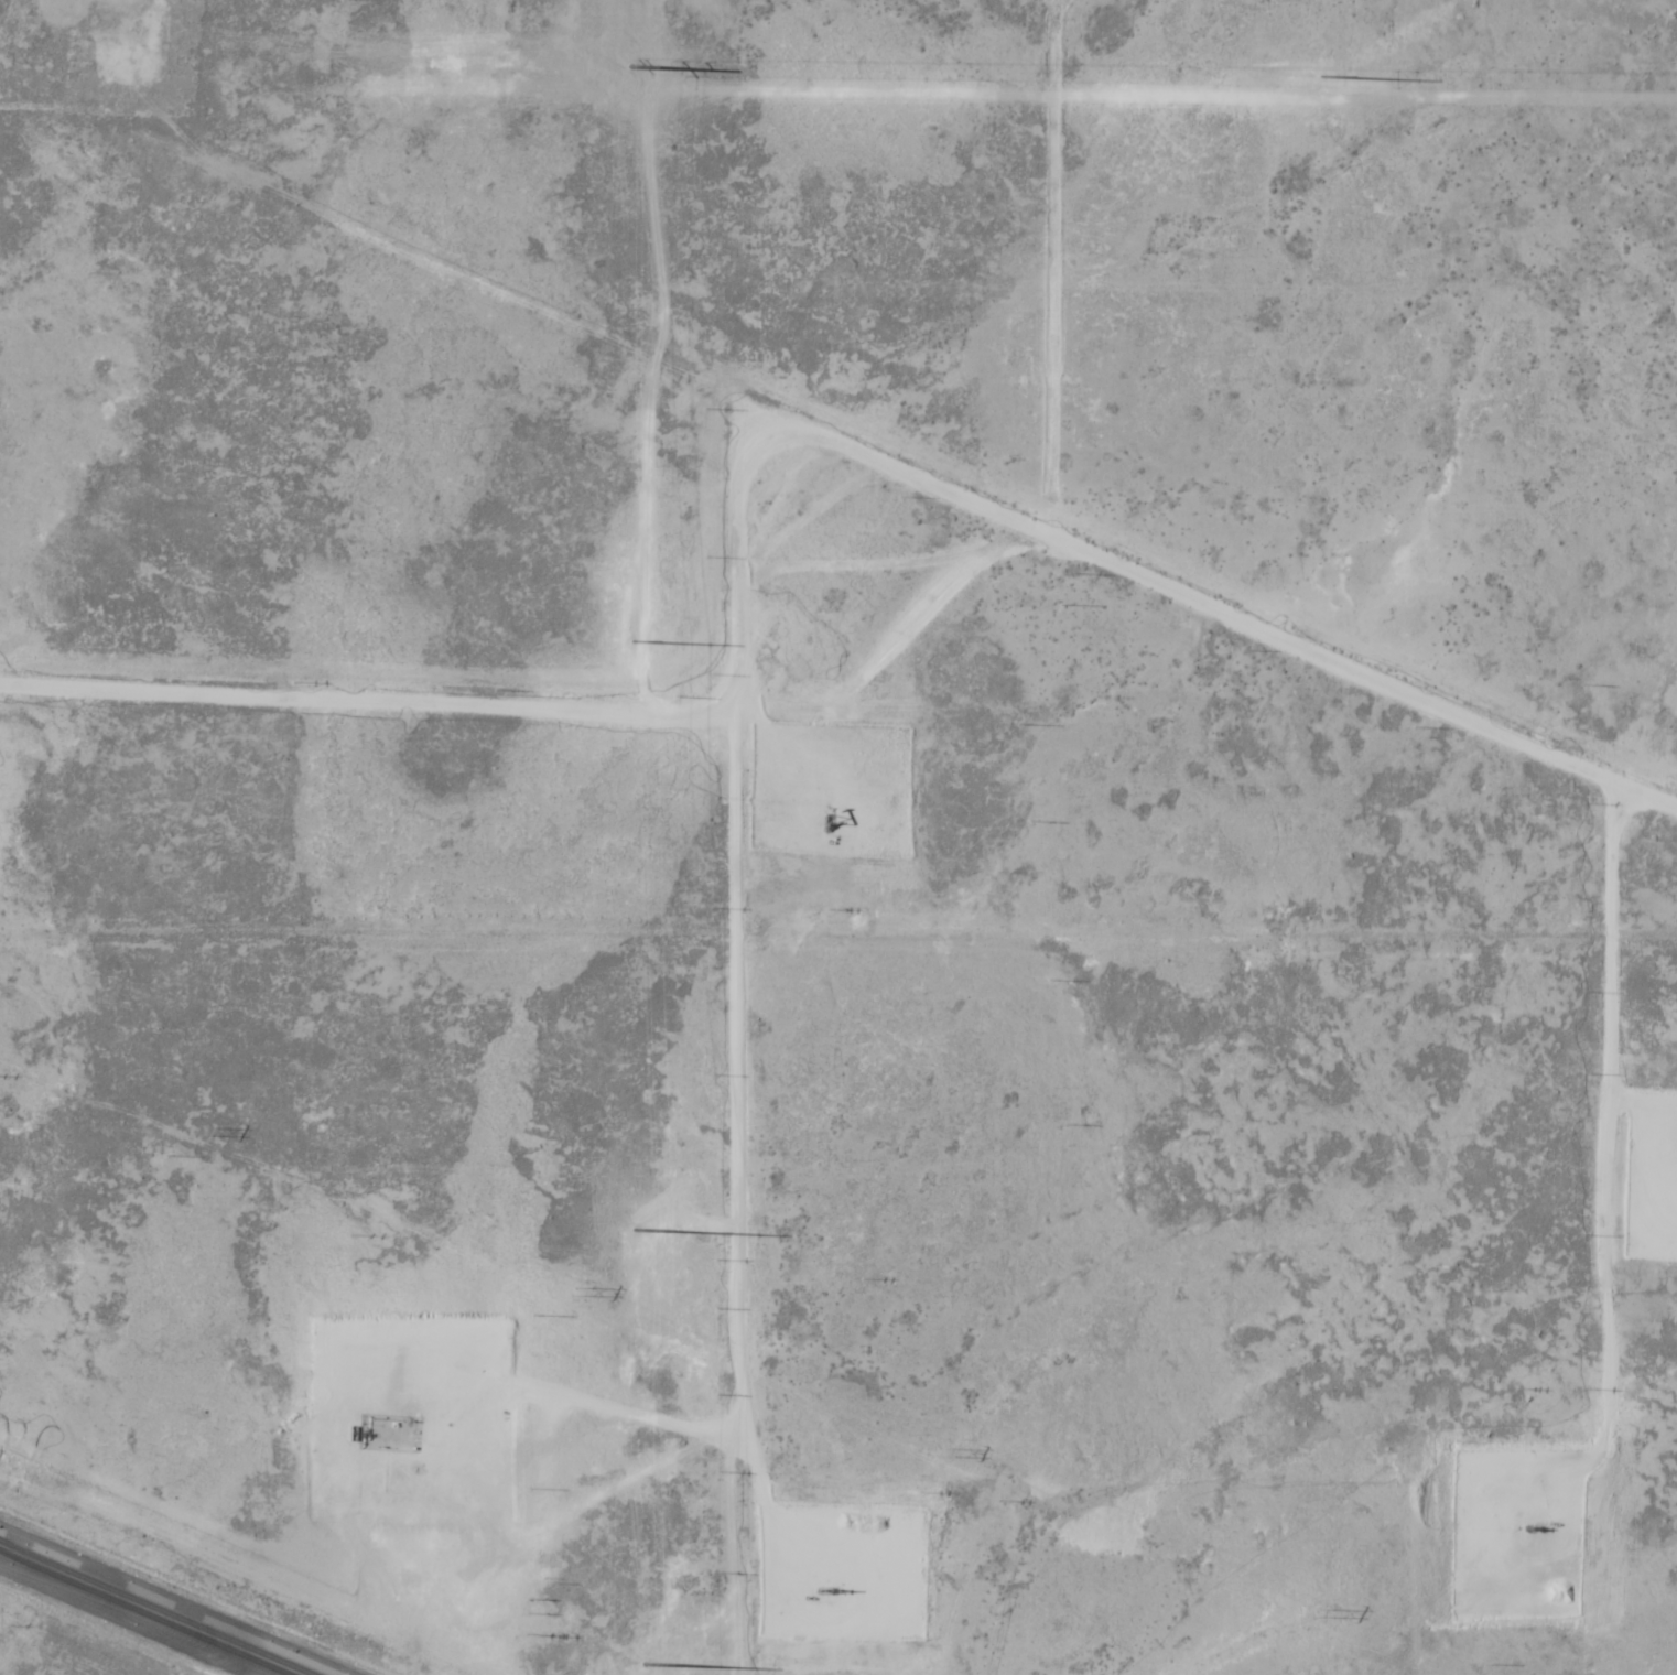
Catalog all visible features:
road: (1248, 602)
road: (538, 706)
road: (735, 1120)
power tower: (204, 1131)
road: (1615, 1142)
power tower: (573, 1292)
power tower: (946, 1451)
road: (148, 1611)
power tower: (1316, 1612)

